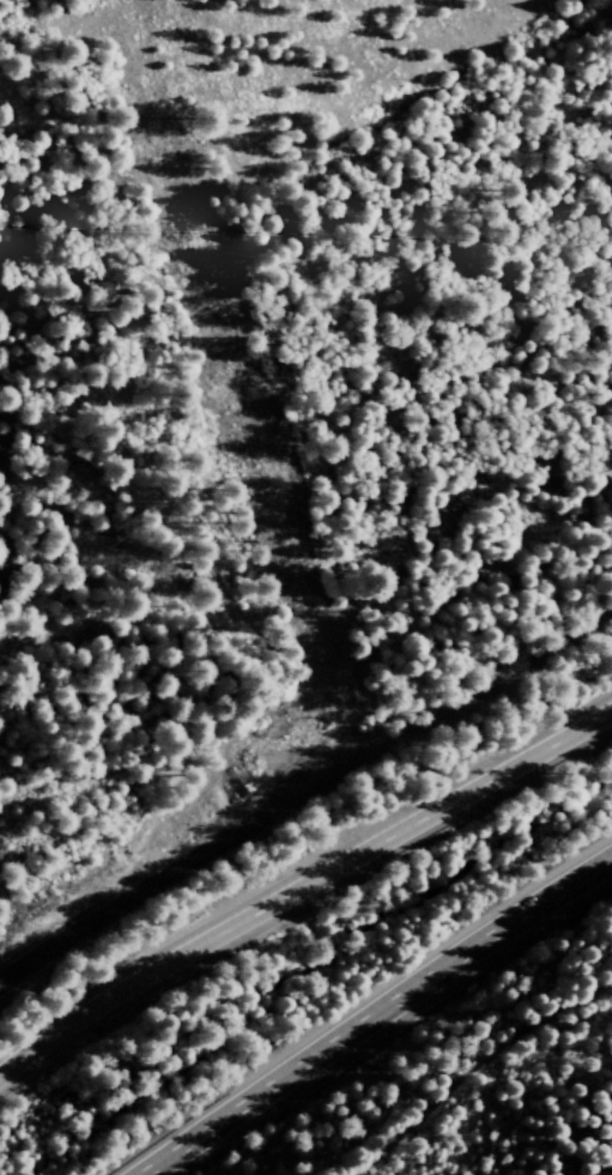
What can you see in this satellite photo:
road: (461, 701)
road: (153, 882)
road: (302, 885)
road: (369, 1010)
road: (520, 1147)

